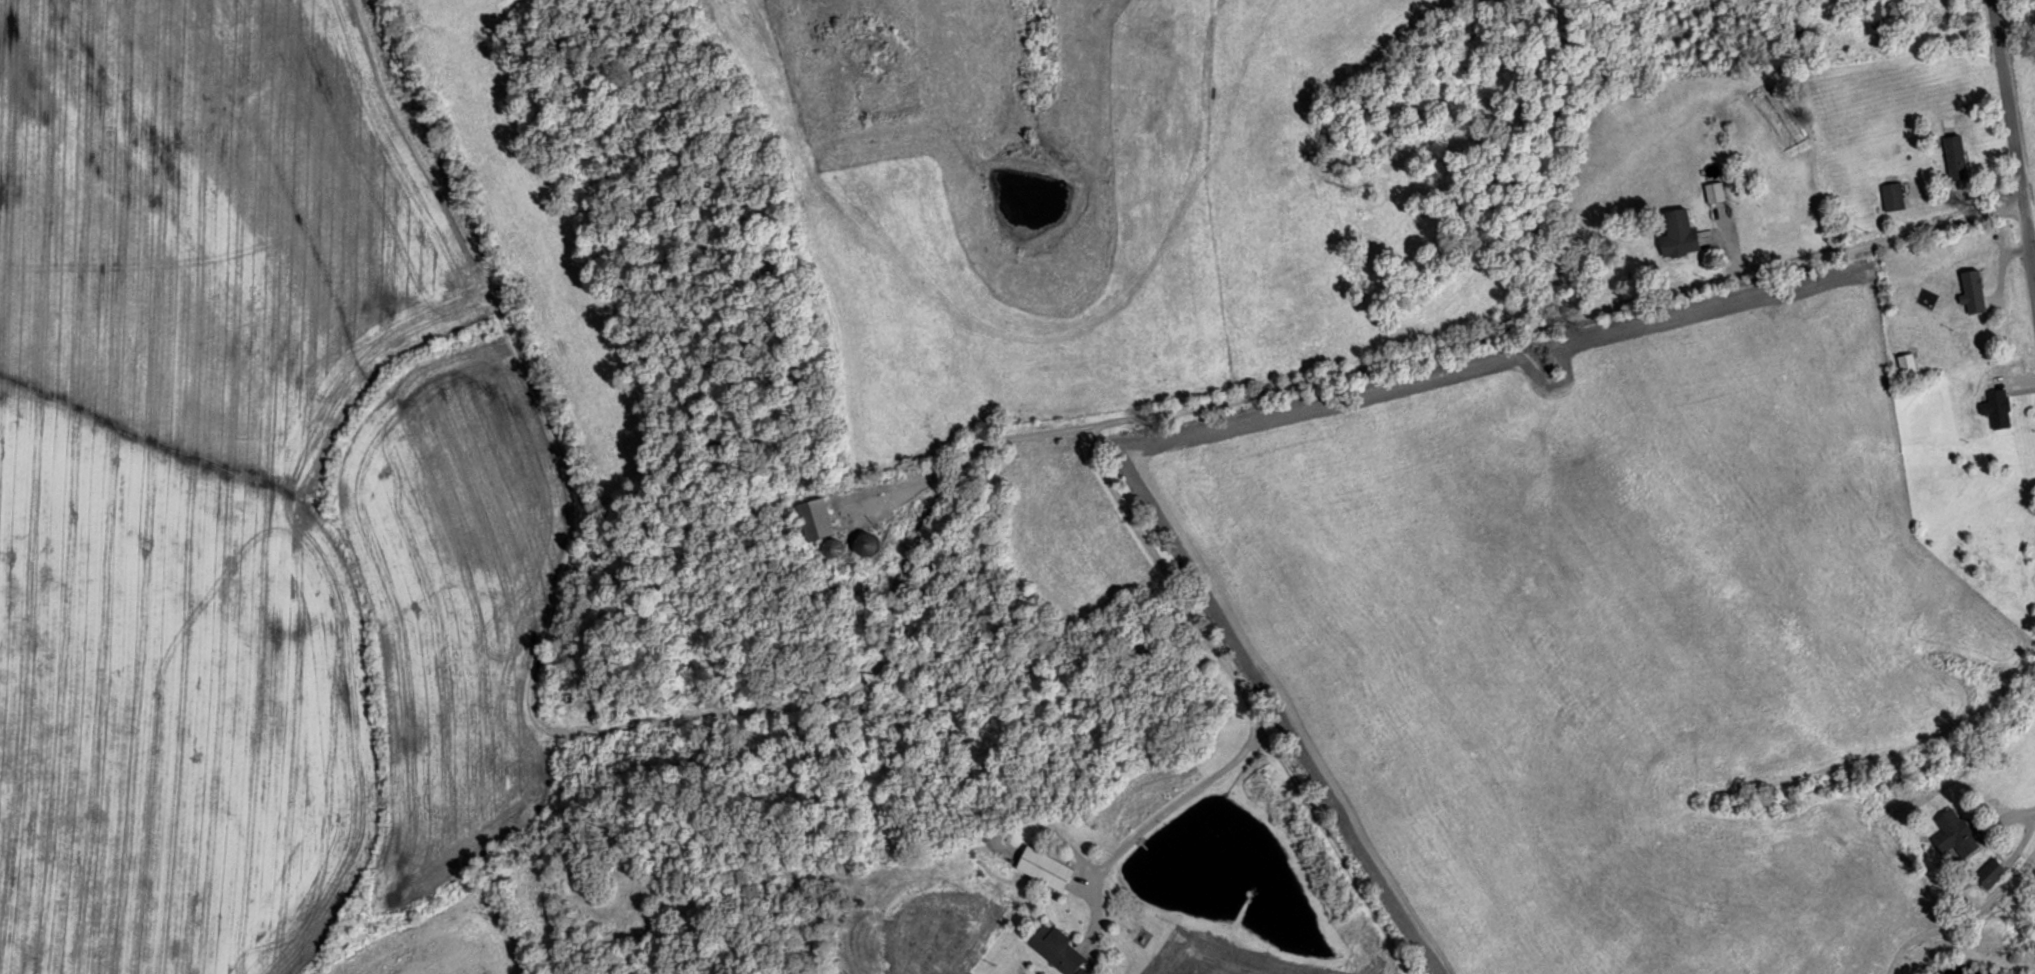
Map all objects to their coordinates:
building: (1871, 18)
building: (1797, 24)
building: (1953, 156)
building: (1713, 192)
building: (1890, 195)
road: (2017, 219)
building: (1676, 233)
building: (1970, 287)
road: (1620, 349)
building: (1905, 363)
building: (1995, 407)
building: (813, 518)
building: (863, 544)
building: (828, 548)
building: (1954, 833)
building: (1043, 868)
building: (1989, 872)
building: (1055, 949)

